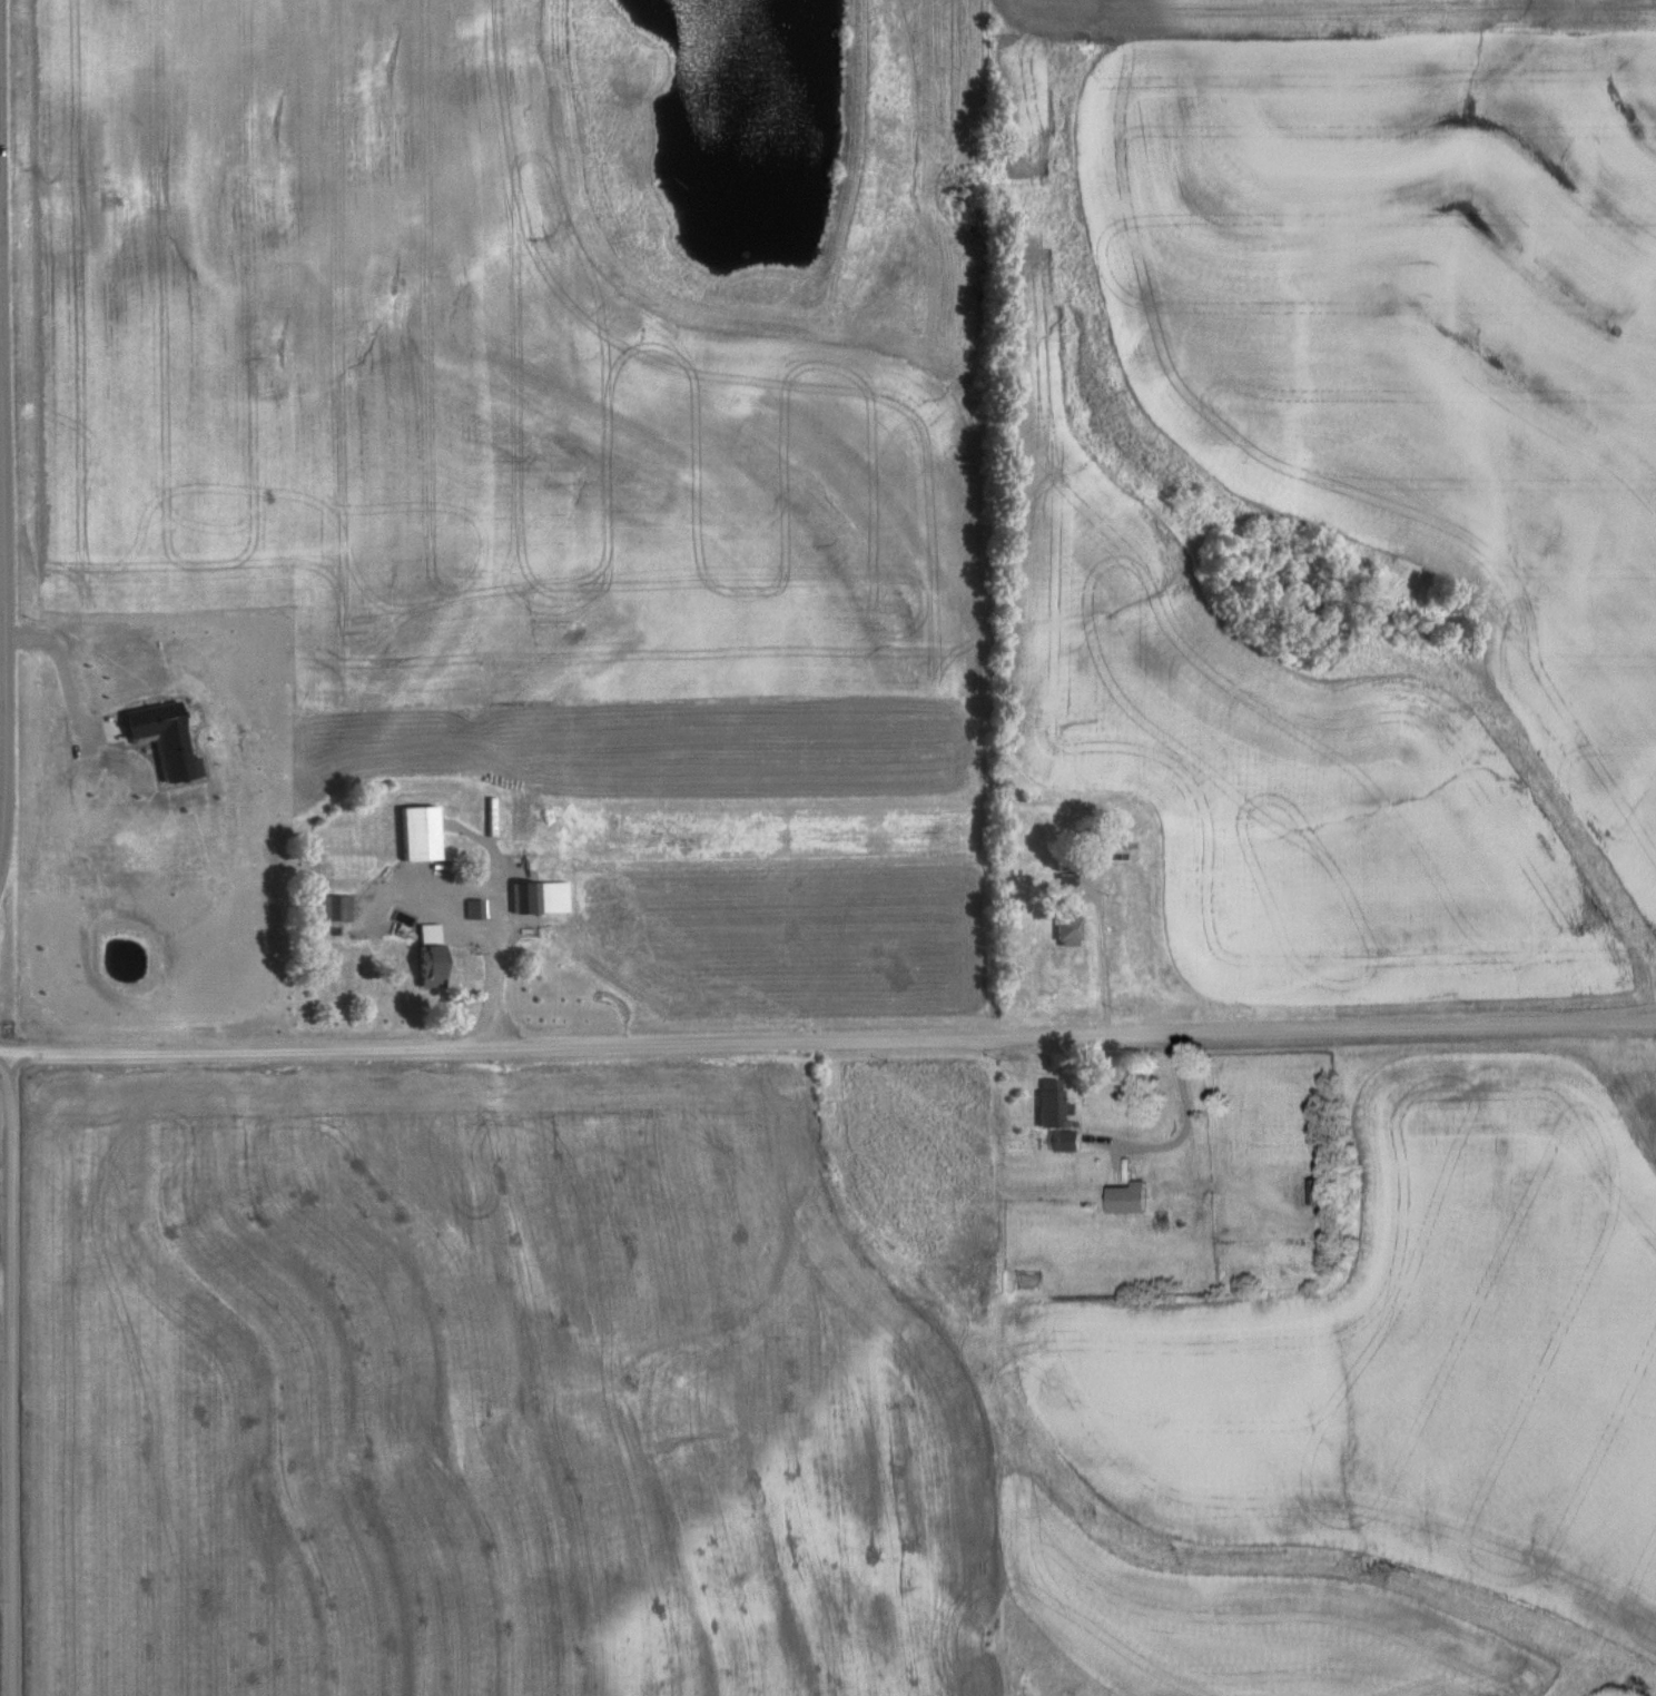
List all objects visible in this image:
road: (3, 499)
building: (418, 831)
building: (1111, 846)
building: (1066, 870)
building: (524, 896)
building: (336, 906)
building: (1067, 926)
building: (428, 954)
road: (709, 977)
road: (828, 1042)
building: (1052, 1102)
building: (1063, 1138)
building: (1313, 1189)
building: (1123, 1196)
road: (12, 1375)

